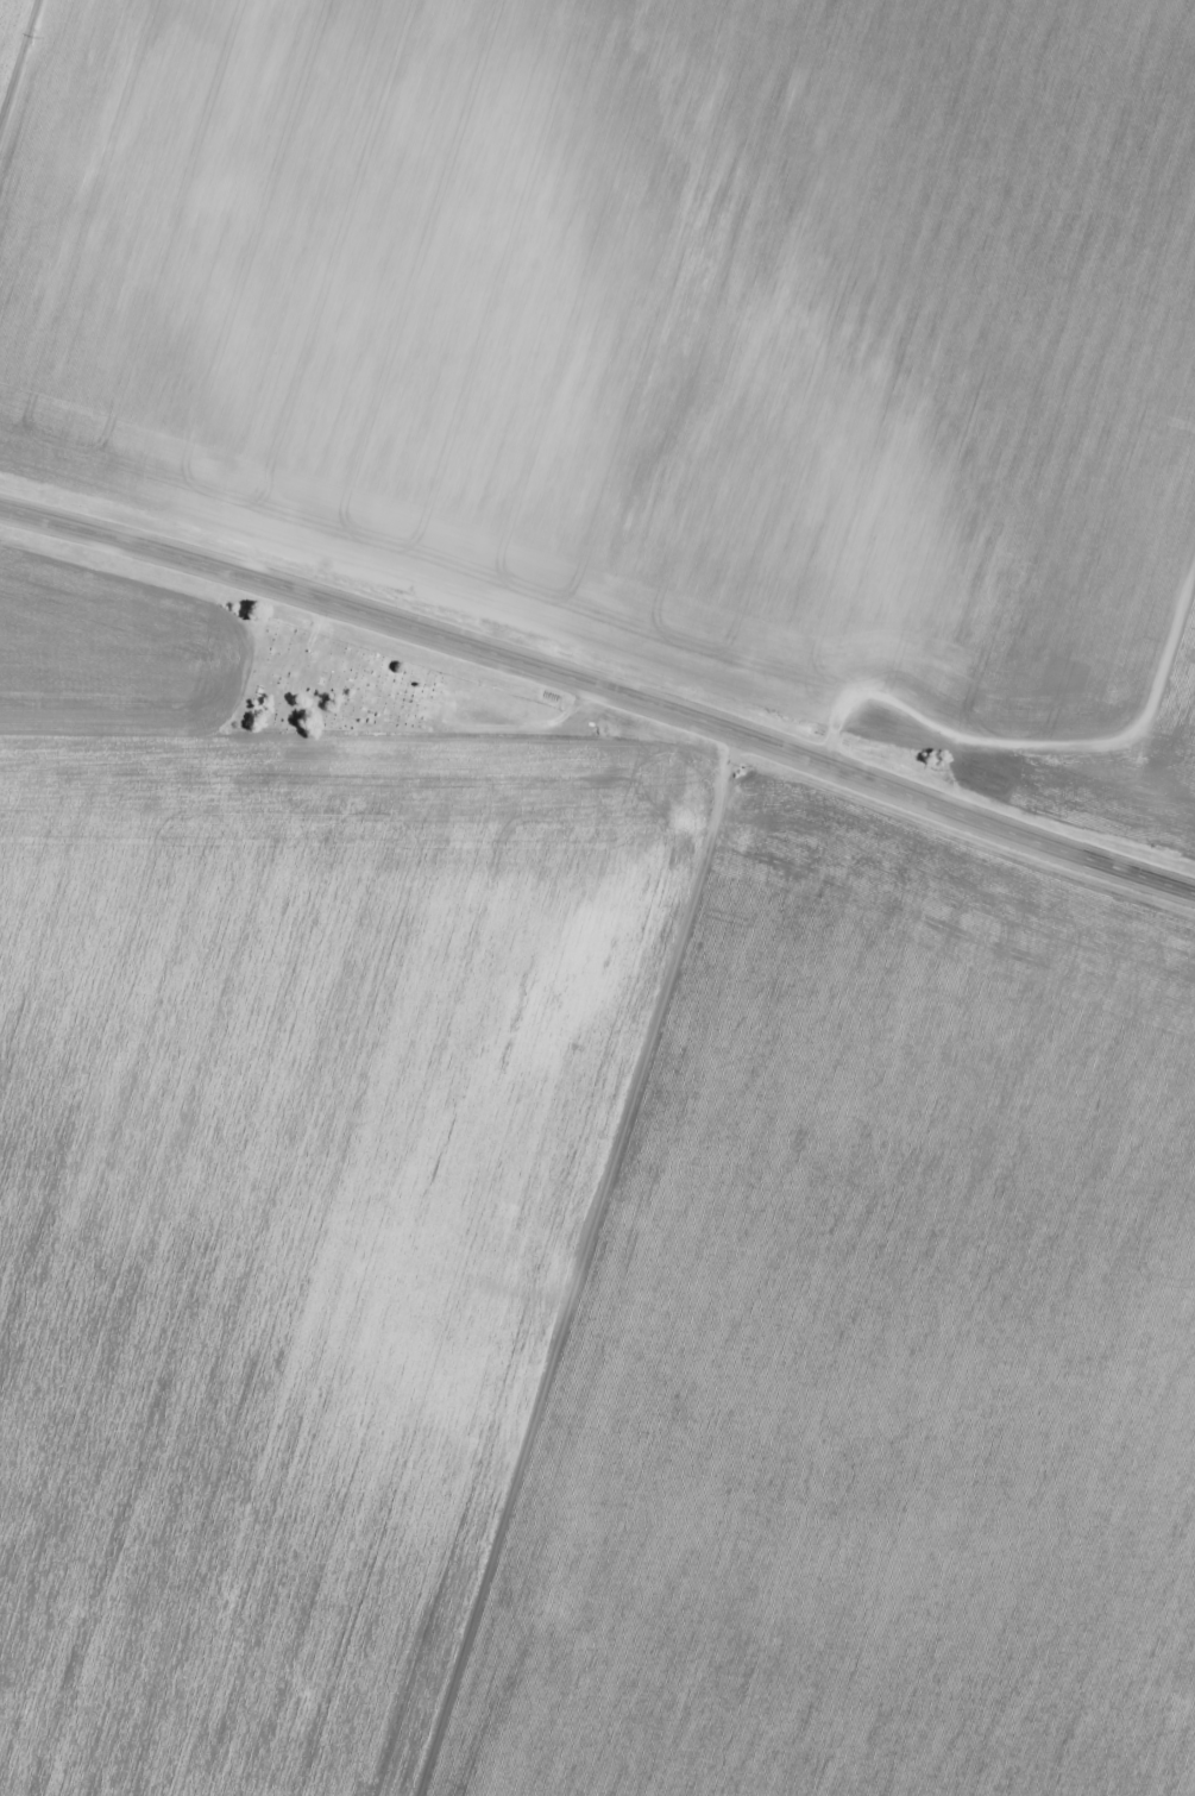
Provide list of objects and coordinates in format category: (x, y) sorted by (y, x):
road: (25, 76)
road: (597, 697)

